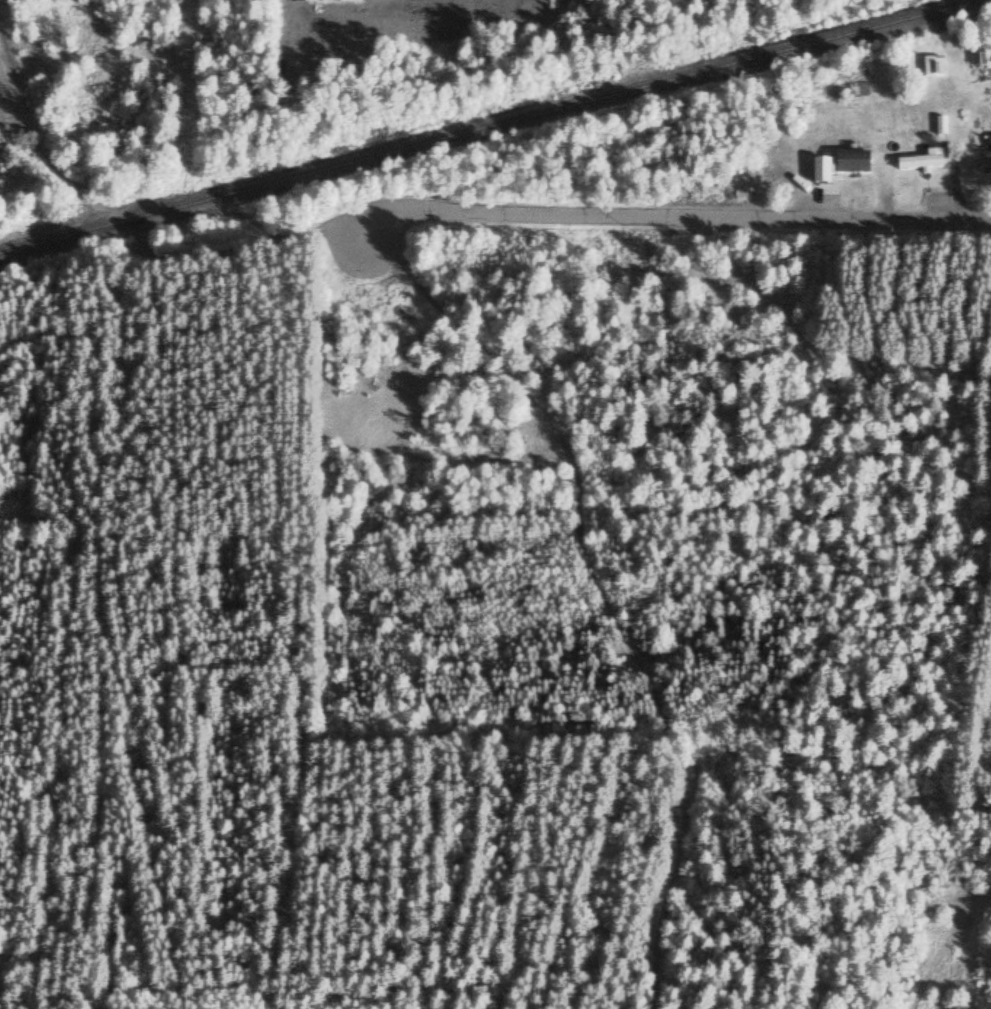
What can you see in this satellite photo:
building: (340, 2)
building: (937, 67)
railway: (492, 126)
building: (925, 162)
building: (839, 167)
road: (668, 216)
road: (135, 247)
road: (597, 589)
road: (953, 911)

